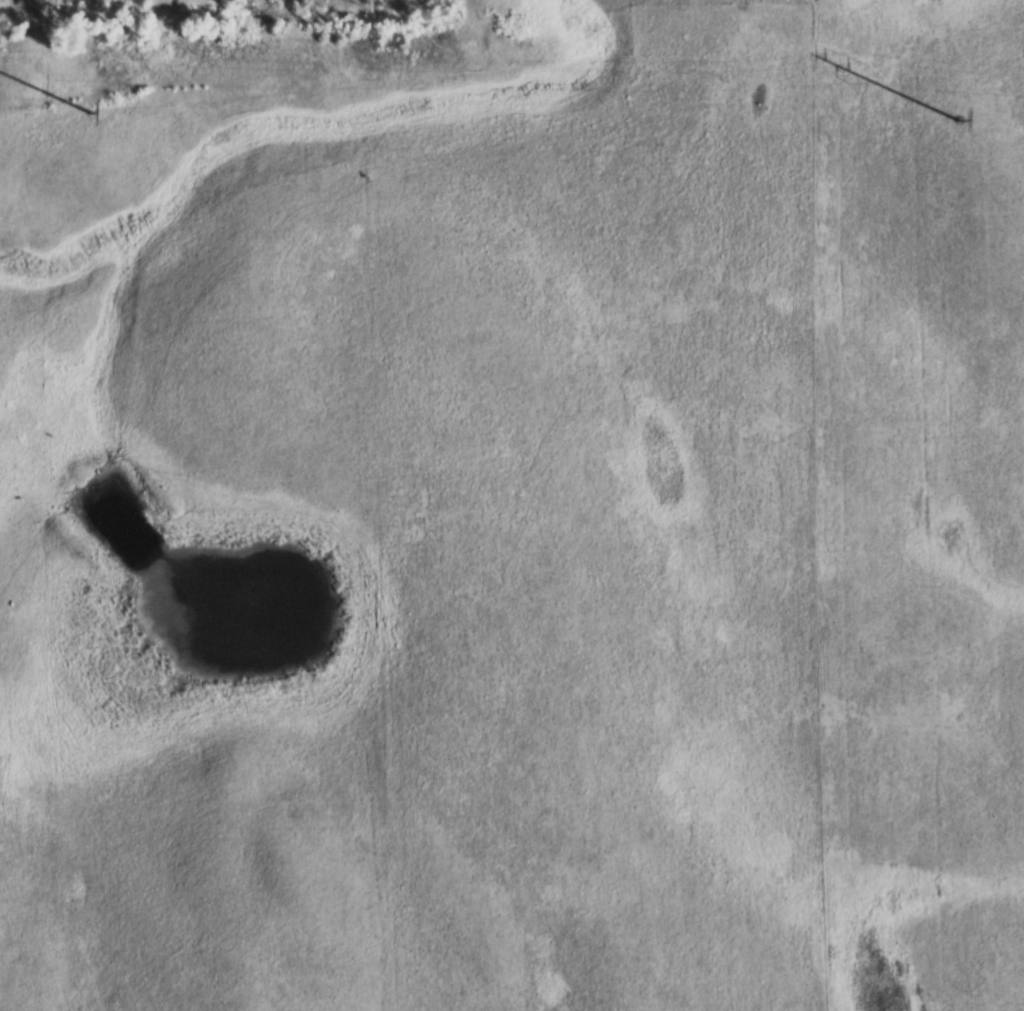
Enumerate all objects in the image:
power tower: (90, 111)
power tower: (956, 115)

